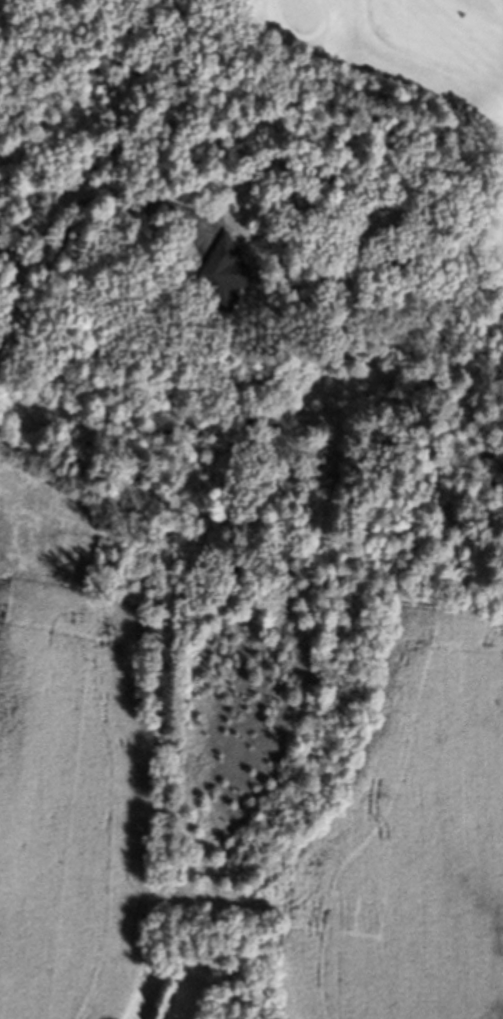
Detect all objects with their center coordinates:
park: (407, 85)
building: (223, 276)

